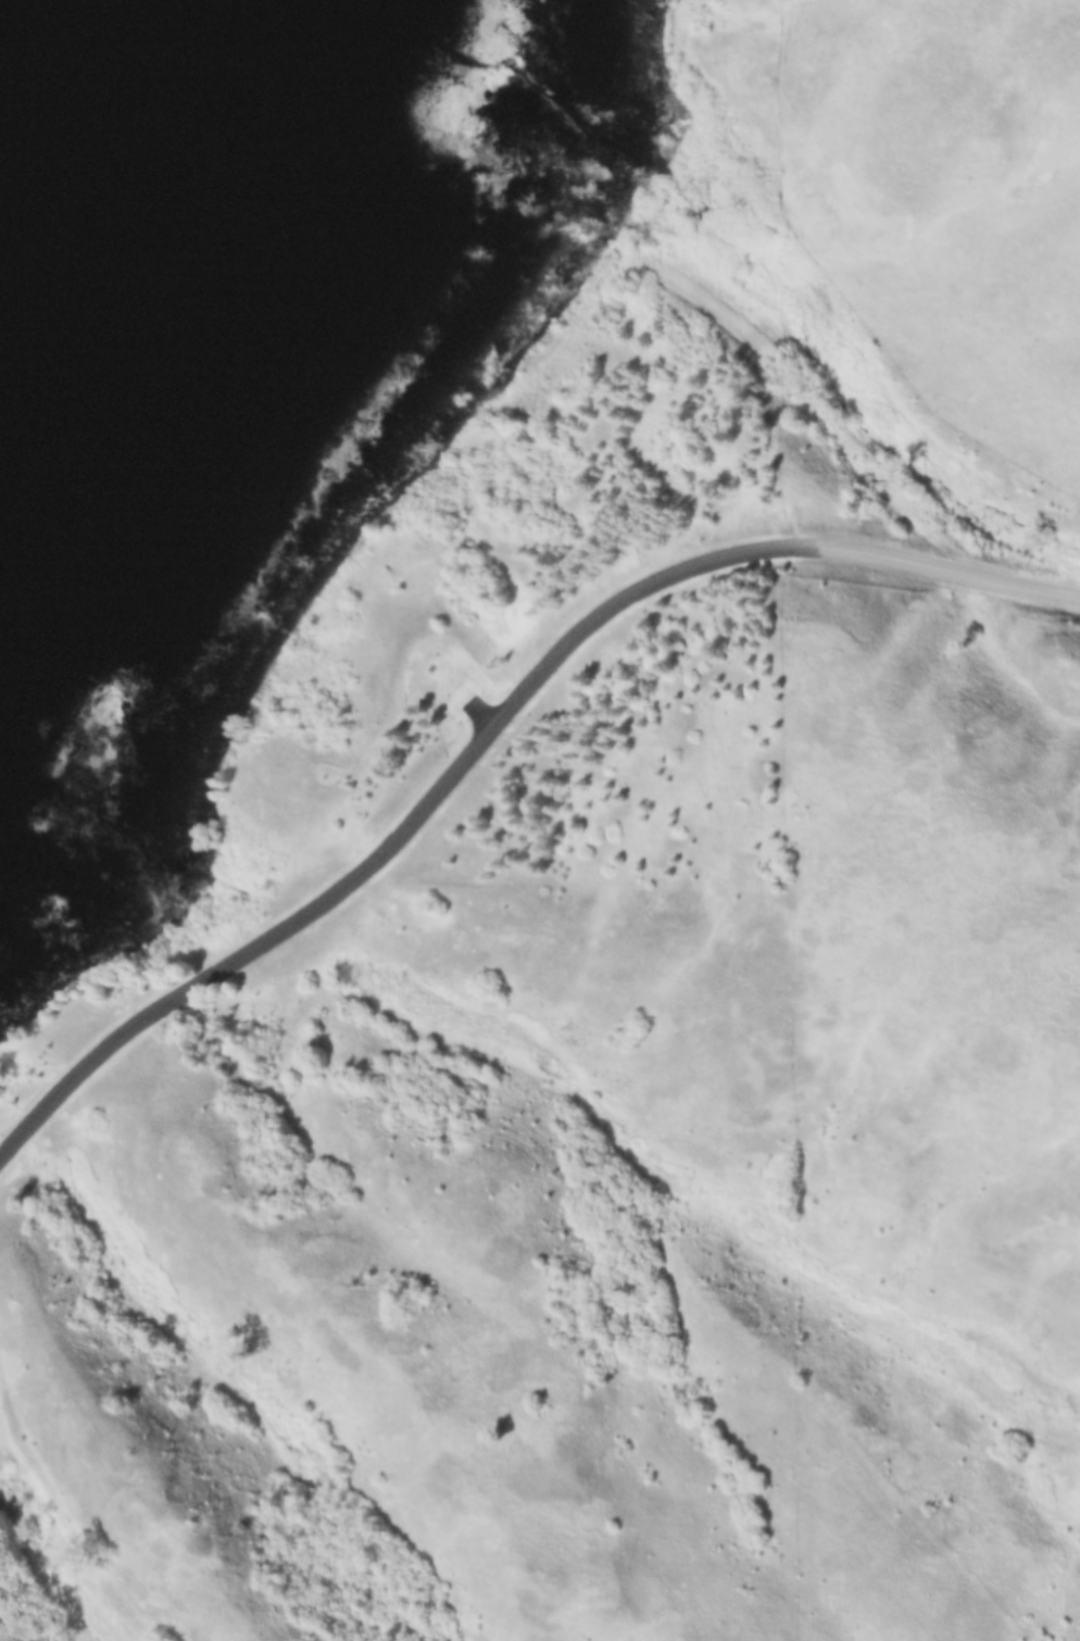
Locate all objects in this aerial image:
road: (946, 573)
road: (404, 845)

